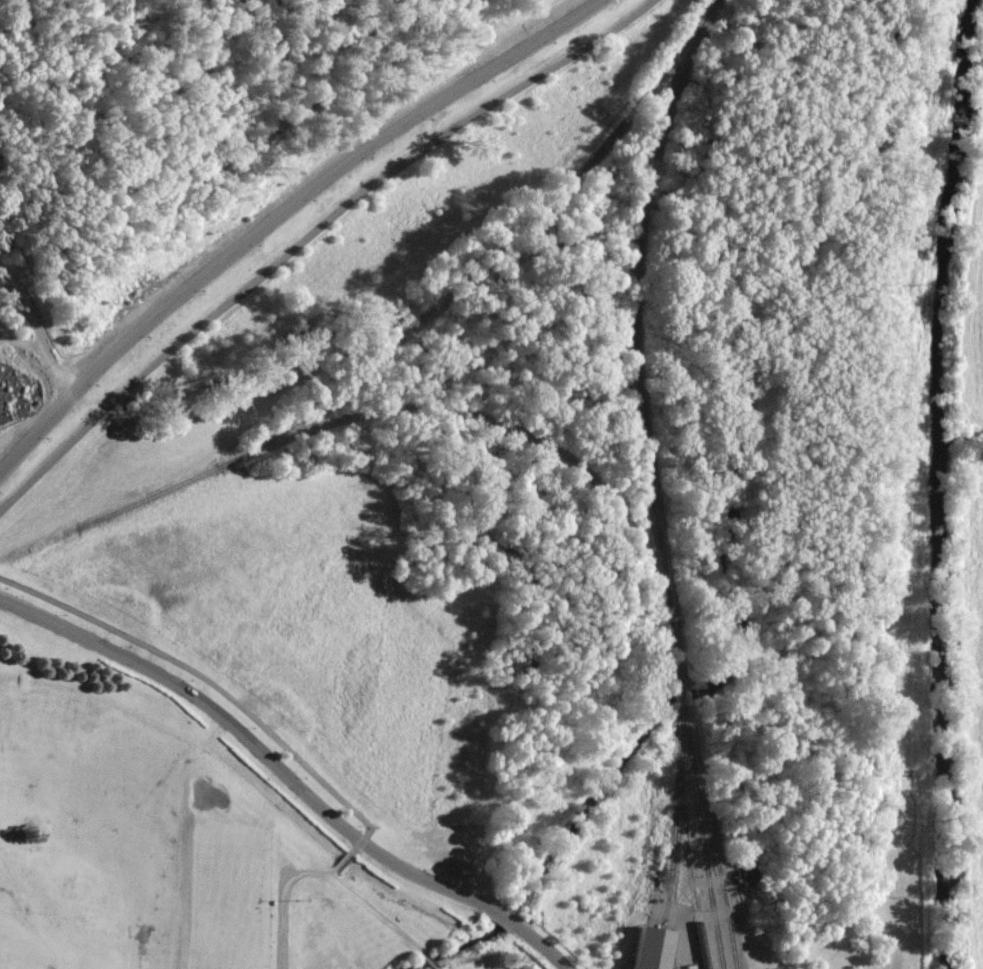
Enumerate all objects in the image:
railway: (694, 51)
road: (276, 210)
road: (310, 234)
road: (38, 328)
railway: (634, 366)
river: (937, 483)
railway: (903, 698)
road: (273, 735)
road: (253, 746)
railway: (700, 801)
railway: (685, 826)
park: (125, 829)
railway: (665, 858)
railway: (705, 862)
railway: (669, 886)
road: (281, 899)
road: (501, 914)
road: (538, 941)
building: (652, 948)
road: (428, 960)
road: (435, 967)

